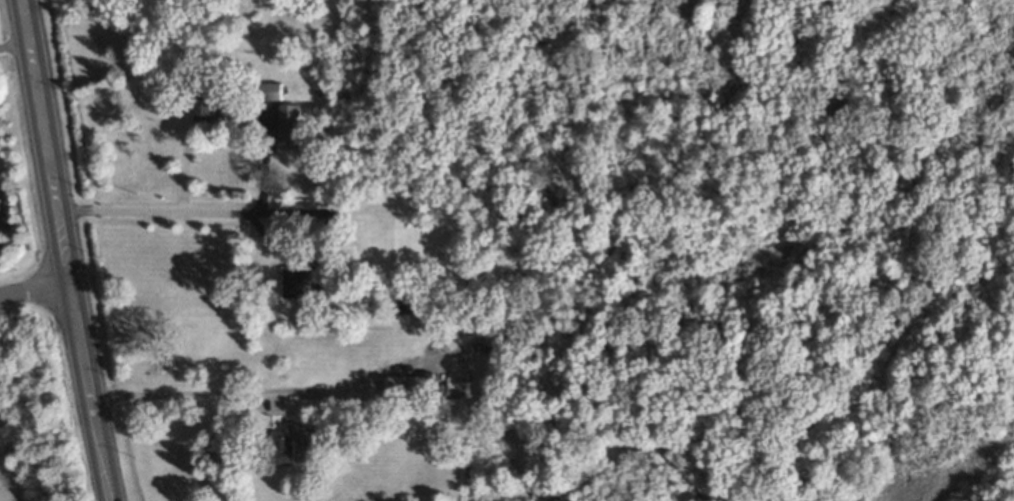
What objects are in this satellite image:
road: (16, 45)
building: (273, 90)
building: (203, 111)
building: (289, 122)
road: (265, 162)
road: (57, 197)
road: (159, 209)
building: (0, 210)
road: (321, 248)
building: (294, 281)
road: (36, 289)
building: (409, 386)
road: (231, 393)
building: (283, 444)
road: (100, 448)

